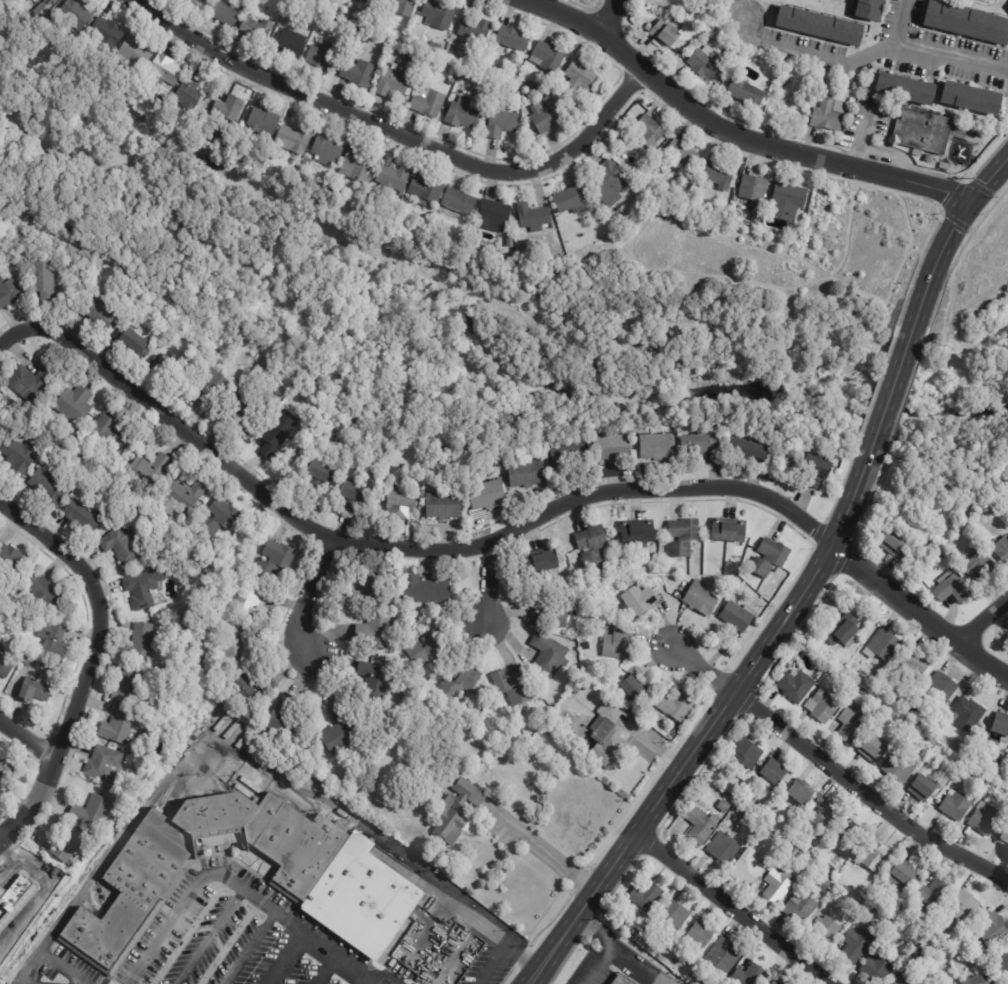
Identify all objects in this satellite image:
building: (34, 0)
building: (368, 0)
building: (375, 0)
building: (200, 3)
building: (401, 6)
building: (289, 7)
building: (43, 8)
building: (871, 9)
building: (227, 11)
building: (76, 12)
building: (440, 14)
road: (610, 17)
building: (967, 22)
building: (820, 25)
road: (906, 26)
building: (256, 29)
building: (107, 31)
building: (666, 33)
building: (719, 35)
building: (472, 36)
building: (414, 37)
building: (513, 39)
building: (290, 44)
building: (436, 47)
building: (46, 51)
building: (136, 53)
road: (890, 54)
building: (548, 57)
building: (322, 59)
building: (704, 63)
building: (165, 70)
building: (499, 72)
building: (358, 73)
building: (581, 76)
building: (398, 79)
building: (487, 82)
building: (822, 83)
building: (544, 84)
building: (858, 85)
building: (532, 86)
building: (502, 87)
building: (906, 89)
building: (190, 90)
building: (747, 94)
building: (525, 95)
building: (972, 98)
building: (852, 101)
building: (429, 103)
building: (785, 107)
building: (229, 108)
building: (461, 114)
building: (547, 115)
building: (829, 115)
building: (262, 123)
building: (501, 124)
road: (396, 131)
building: (650, 131)
road: (730, 131)
building: (924, 131)
building: (295, 138)
building: (327, 149)
building: (918, 153)
building: (683, 156)
building: (308, 163)
building: (359, 164)
building: (945, 166)
building: (719, 175)
building: (608, 178)
building: (695, 179)
building: (393, 180)
building: (754, 190)
building: (427, 191)
building: (571, 200)
traffic signals: (975, 200)
building: (459, 202)
building: (786, 202)
building: (589, 213)
building: (493, 215)
building: (534, 217)
road: (950, 240)
building: (510, 241)
building: (44, 278)
building: (9, 293)
park: (496, 300)
building: (101, 318)
building: (134, 342)
park: (976, 348)
building: (168, 370)
building: (30, 383)
building: (204, 383)
road: (890, 398)
building: (6, 401)
building: (74, 405)
building: (247, 411)
building: (0, 430)
building: (0, 433)
building: (108, 434)
building: (277, 435)
building: (704, 447)
building: (660, 448)
building: (614, 449)
building: (752, 451)
building: (570, 453)
building: (18, 454)
building: (820, 468)
building: (149, 472)
building: (528, 474)
building: (320, 477)
building: (48, 488)
building: (184, 495)
building: (488, 496)
building: (354, 497)
building: (402, 504)
building: (443, 506)
building: (84, 517)
building: (219, 519)
building: (729, 531)
building: (638, 532)
building: (683, 538)
building: (893, 543)
road: (390, 545)
building: (123, 546)
building: (592, 547)
building: (1001, 549)
building: (941, 557)
building: (276, 558)
building: (770, 558)
building: (11, 561)
building: (543, 562)
building: (979, 565)
road: (482, 588)
building: (953, 588)
building: (145, 590)
building: (426, 591)
building: (46, 592)
building: (365, 594)
building: (701, 599)
road: (307, 600)
building: (640, 601)
building: (250, 604)
building: (547, 611)
road: (919, 612)
building: (738, 617)
road: (984, 620)
building: (607, 626)
building: (844, 631)
building: (41, 632)
building: (376, 634)
building: (141, 642)
building: (53, 644)
building: (235, 644)
building: (618, 645)
building: (584, 646)
building: (883, 646)
building: (430, 651)
building: (549, 656)
road: (89, 663)
building: (28, 664)
building: (915, 664)
building: (5, 665)
building: (821, 666)
building: (151, 669)
road: (706, 671)
building: (830, 672)
building: (575, 675)
building: (896, 676)
building: (870, 680)
building: (374, 683)
building: (461, 683)
building: (270, 685)
building: (580, 685)
building: (126, 687)
building: (512, 687)
building: (796, 687)
building: (942, 688)
building: (633, 689)
building: (37, 690)
building: (250, 690)
building: (925, 698)
building: (825, 704)
building: (635, 706)
building: (677, 706)
building: (968, 713)
building: (285, 720)
building: (852, 722)
building: (1001, 725)
building: (118, 728)
building: (341, 732)
road: (714, 733)
building: (608, 737)
road: (26, 741)
building: (875, 747)
building: (747, 752)
building: (924, 753)
road: (243, 761)
building: (104, 765)
building: (900, 768)
building: (6, 770)
building: (774, 773)
building: (923, 787)
building: (979, 787)
building: (992, 789)
building: (465, 790)
building: (1003, 790)
building: (708, 791)
building: (802, 793)
building: (999, 797)
road: (869, 798)
building: (724, 806)
building: (956, 806)
building: (92, 813)
building: (822, 815)
building: (794, 819)
building: (986, 819)
building: (452, 820)
building: (701, 824)
building: (765, 835)
building: (1004, 838)
building: (848, 839)
building: (64, 846)
building: (724, 847)
building: (811, 851)
road: (544, 852)
building: (875, 855)
building: (748, 867)
road: (7, 868)
building: (830, 871)
building: (902, 875)
road: (235, 883)
building: (823, 883)
building: (779, 885)
building: (145, 887)
road: (45, 888)
building: (934, 894)
building: (364, 897)
building: (876, 897)
building: (645, 898)
building: (15, 901)
building: (802, 905)
building: (896, 906)
building: (965, 906)
road: (733, 909)
building: (674, 914)
building: (893, 914)
building: (879, 917)
building: (886, 922)
building: (626, 925)
building: (993, 929)
building: (633, 930)
building: (826, 930)
building: (701, 935)
building: (395, 941)
building: (858, 944)
road: (625, 949)
road: (283, 959)
building: (720, 959)
road: (492, 961)
building: (689, 961)
road: (600, 963)
building: (940, 963)
building: (1004, 964)
building: (880, 966)
building: (750, 975)
building: (907, 977)
building: (980, 977)
building: (620, 980)
road: (361, 982)
building: (777, 982)
building: (771, 983)

